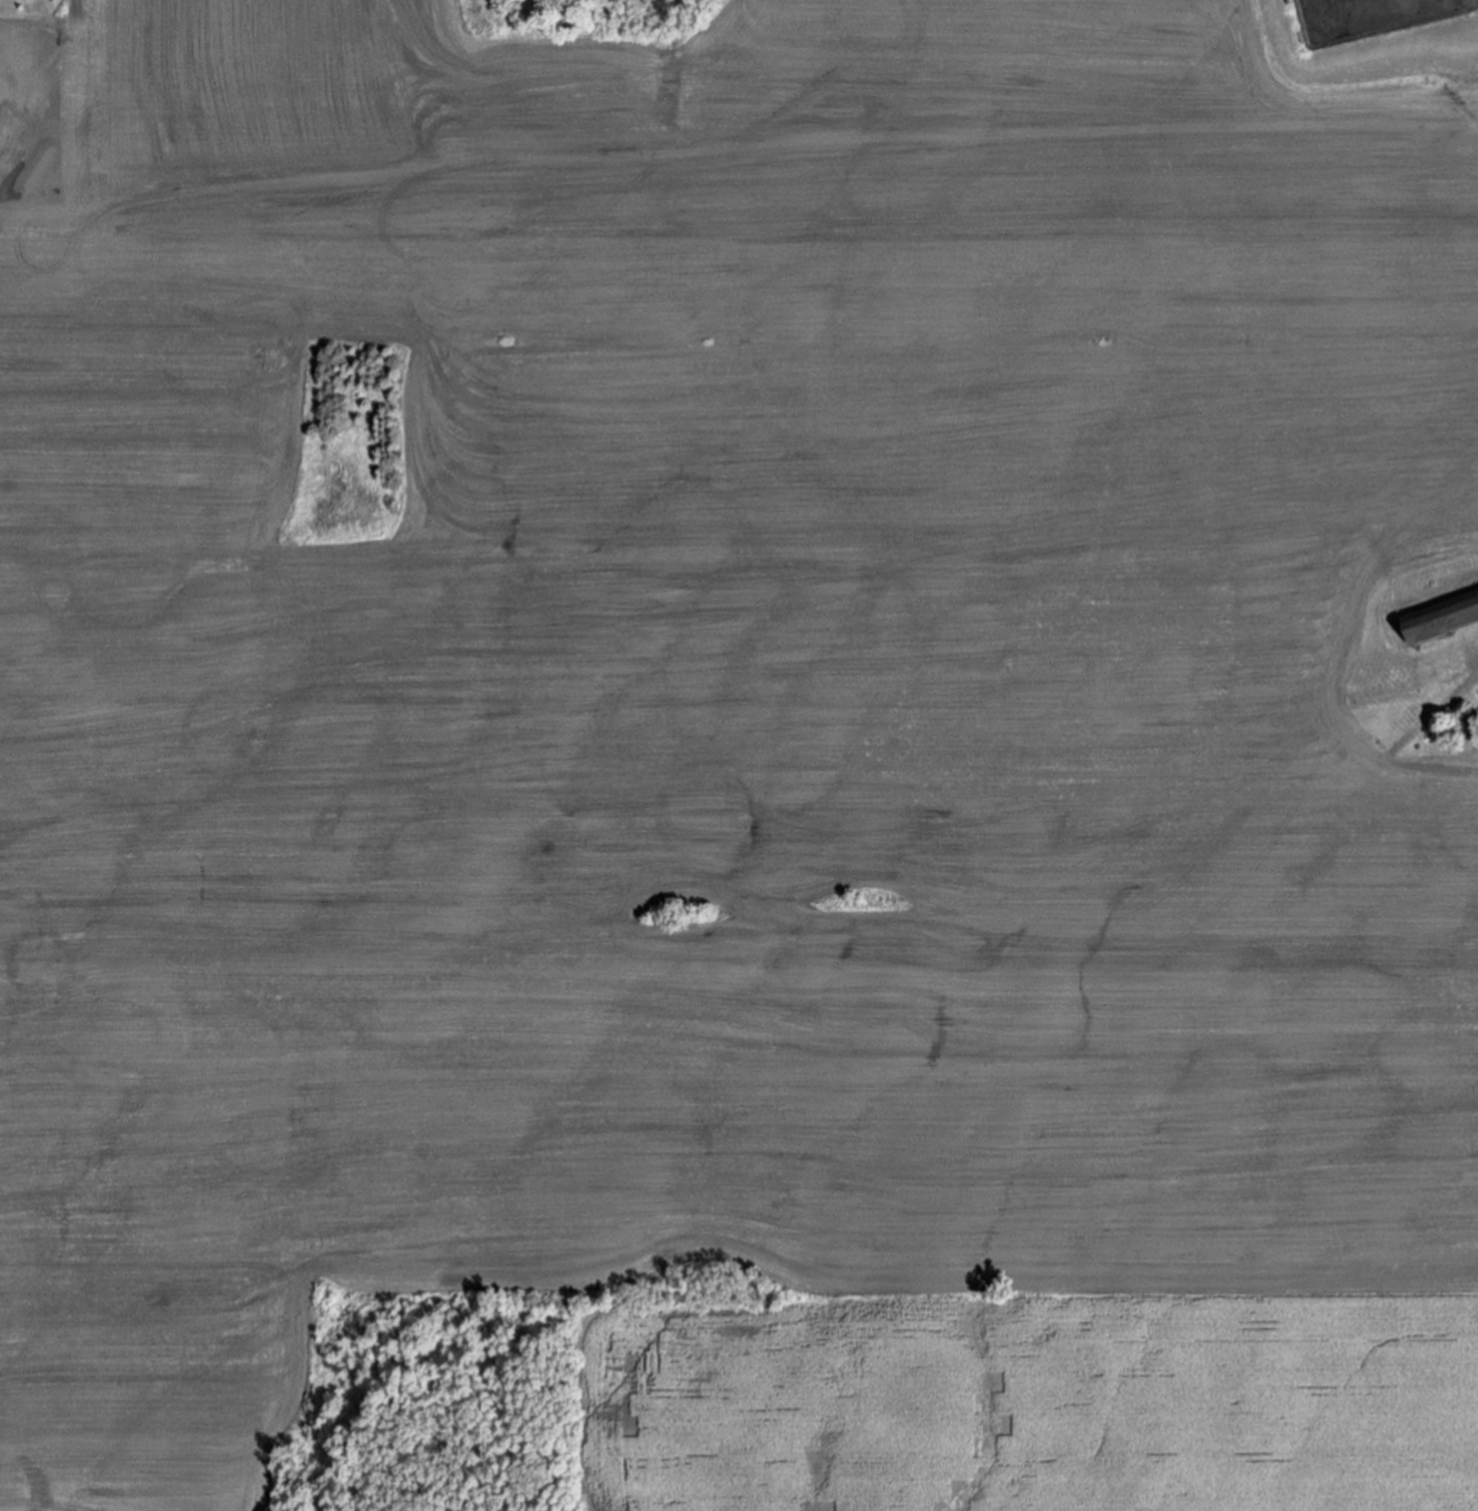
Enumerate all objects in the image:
building: (1441, 618)
crop: (742, 751)

